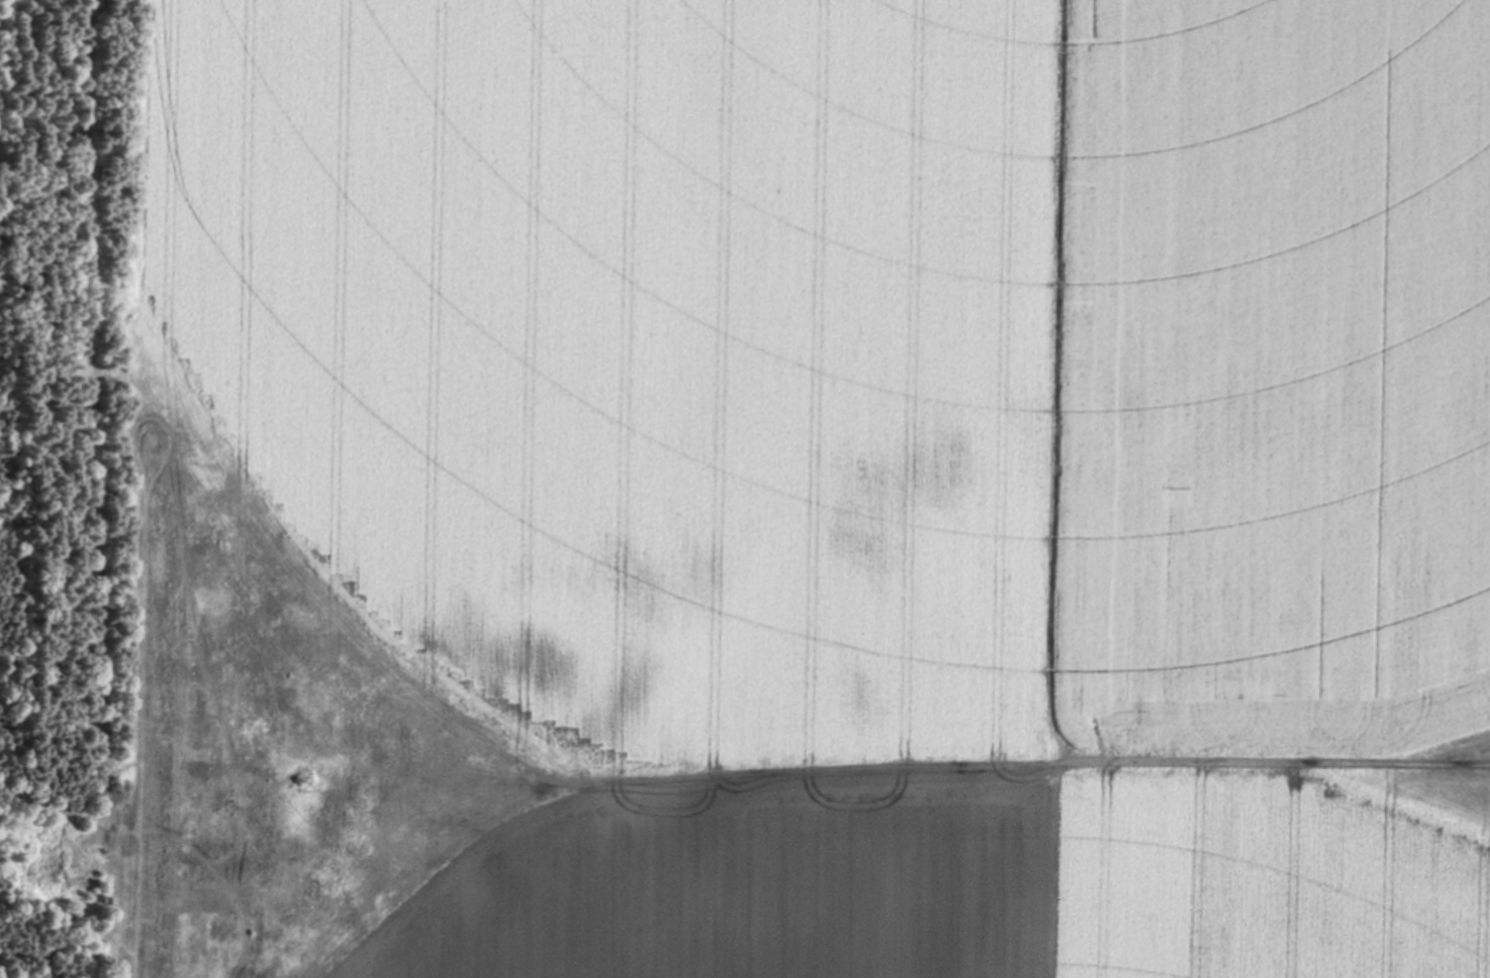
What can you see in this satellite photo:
crop: (805, 489)
road: (1017, 758)
road: (53, 809)

